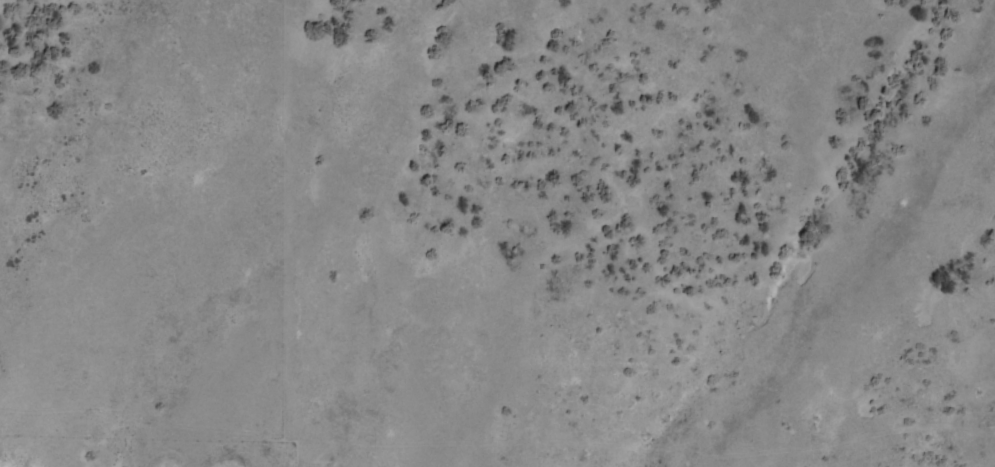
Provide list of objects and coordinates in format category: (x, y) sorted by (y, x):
road: (845, 181)
road: (123, 451)

